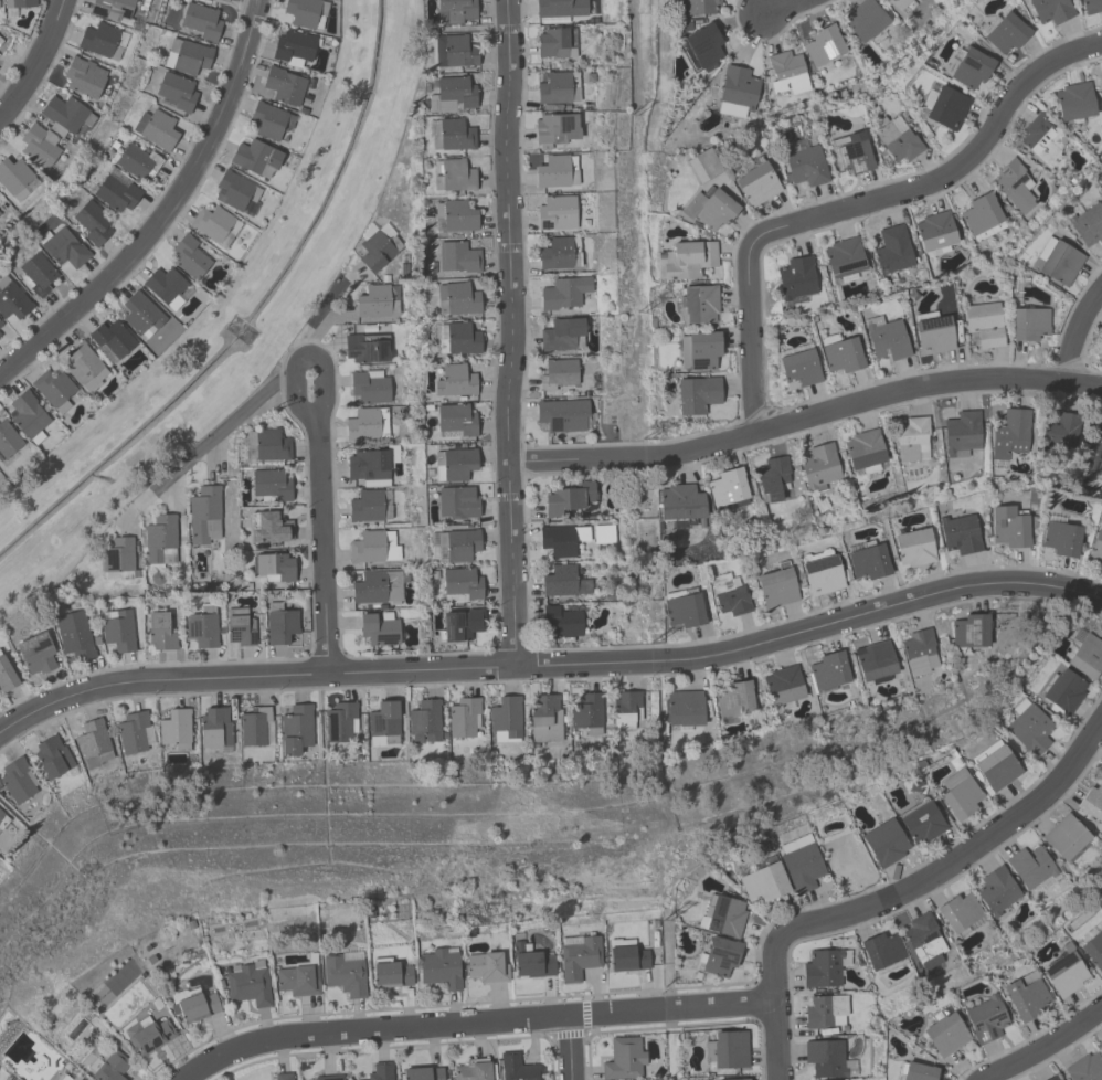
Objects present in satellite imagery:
road: (258, 0)
building: (18, 3)
building: (898, 3)
building: (1091, 6)
building: (699, 7)
road: (761, 9)
road: (781, 9)
building: (112, 10)
building: (559, 10)
building: (1050, 10)
building: (454, 11)
building: (305, 12)
building: (865, 19)
building: (201, 21)
building: (1006, 33)
building: (102, 41)
building: (555, 42)
building: (823, 46)
building: (293, 47)
building: (700, 47)
building: (455, 51)
building: (187, 56)
road: (35, 60)
building: (967, 67)
building: (786, 73)
building: (83, 77)
building: (1100, 82)
building: (284, 85)
building: (558, 87)
building: (176, 91)
building: (737, 91)
building: (452, 94)
building: (1074, 100)
building: (944, 107)
building: (64, 115)
building: (269, 120)
building: (555, 127)
building: (155, 128)
building: (451, 134)
building: (1042, 137)
building: (898, 139)
building: (39, 145)
building: (850, 152)
building: (255, 158)
building: (136, 161)
building: (803, 163)
building: (702, 165)
building: (557, 171)
building: (453, 174)
building: (15, 178)
building: (1100, 181)
building: (755, 183)
building: (1014, 184)
building: (1101, 189)
building: (234, 190)
building: (116, 193)
road: (859, 204)
building: (709, 208)
road: (166, 211)
building: (1, 212)
building: (555, 212)
building: (454, 215)
building: (982, 216)
building: (93, 222)
building: (214, 224)
building: (1088, 224)
building: (934, 233)
building: (377, 245)
building: (62, 247)
building: (892, 250)
building: (559, 253)
building: (188, 256)
building: (457, 256)
building: (844, 256)
building: (685, 260)
building: (1060, 262)
building: (38, 273)
building: (795, 277)
building: (165, 286)
building: (563, 293)
building: (456, 298)
building: (11, 299)
building: (375, 301)
building: (697, 304)
road: (321, 309)
building: (140, 315)
park: (226, 315)
building: (0, 322)
building: (984, 322)
building: (1028, 322)
building: (1, 330)
building: (932, 331)
road: (506, 332)
road: (1077, 332)
building: (562, 333)
building: (886, 337)
building: (457, 338)
building: (110, 339)
building: (365, 348)
building: (699, 350)
building: (840, 352)
building: (84, 367)
building: (798, 369)
building: (559, 371)
building: (454, 380)
building: (369, 387)
building: (53, 389)
building: (696, 394)
building: (562, 414)
building: (27, 416)
road: (804, 417)
building: (454, 420)
building: (367, 424)
building: (1060, 431)
building: (961, 432)
building: (1009, 433)
building: (912, 438)
building: (8, 440)
road: (204, 443)
building: (266, 445)
building: (863, 451)
building: (1093, 452)
building: (455, 463)
road: (318, 464)
building: (371, 465)
building: (819, 466)
building: (772, 478)
building: (269, 485)
building: (727, 487)
building: (569, 498)
building: (456, 501)
building: (680, 502)
building: (368, 506)
building: (204, 515)
building: (1010, 526)
building: (269, 527)
building: (958, 533)
building: (1060, 538)
building: (160, 539)
building: (561, 539)
building: (458, 543)
building: (372, 547)
building: (913, 547)
building: (1095, 549)
building: (118, 559)
building: (867, 560)
building: (273, 567)
building: (820, 572)
building: (562, 581)
building: (460, 584)
building: (377, 586)
building: (776, 586)
building: (728, 595)
building: (682, 607)
building: (561, 621)
building: (279, 623)
building: (459, 624)
building: (201, 626)
building: (239, 627)
building: (379, 628)
building: (118, 631)
building: (159, 631)
building: (969, 631)
building: (73, 634)
building: (919, 652)
building: (34, 653)
building: (1085, 656)
building: (875, 660)
road: (550, 663)
building: (827, 670)
building: (6, 676)
building: (782, 685)
building: (1062, 689)
building: (732, 698)
building: (682, 708)
building: (626, 709)
building: (587, 713)
building: (463, 718)
building: (544, 718)
building: (505, 719)
building: (424, 721)
building: (340, 722)
building: (383, 724)
building: (255, 727)
building: (1029, 727)
building: (214, 728)
building: (295, 728)
building: (174, 729)
building: (131, 732)
building: (93, 740)
building: (52, 756)
building: (995, 764)
building: (17, 780)
building: (958, 793)
building: (1092, 802)
building: (2, 820)
building: (921, 820)
building: (1064, 836)
building: (883, 843)
building: (847, 860)
building: (798, 864)
building: (1030, 867)
road: (931, 873)
building: (763, 880)
building: (996, 890)
building: (958, 912)
building: (722, 915)
building: (923, 940)
building: (1093, 949)
building: (881, 950)
building: (626, 955)
building: (720, 955)
building: (579, 957)
building: (529, 961)
building: (439, 967)
building: (486, 967)
building: (824, 967)
building: (343, 972)
building: (389, 973)
building: (1064, 974)
building: (298, 978)
building: (247, 985)
building: (1025, 995)
building: (194, 1006)
building: (825, 1012)
building: (985, 1019)
road: (473, 1021)
building: (147, 1034)
building: (945, 1034)
road: (775, 1039)
building: (1101, 1045)
road: (1042, 1046)
road: (569, 1047)
building: (1101, 1047)
building: (727, 1049)
building: (623, 1058)
building: (827, 1059)
building: (107, 1067)
building: (518, 1068)
building: (1084, 1068)
building: (473, 1070)
building: (380, 1071)
building: (918, 1071)
building: (422, 1073)
building: (283, 1076)
building: (328, 1077)
building: (64, 1078)
building: (1051, 1078)
building: (731, 1079)

